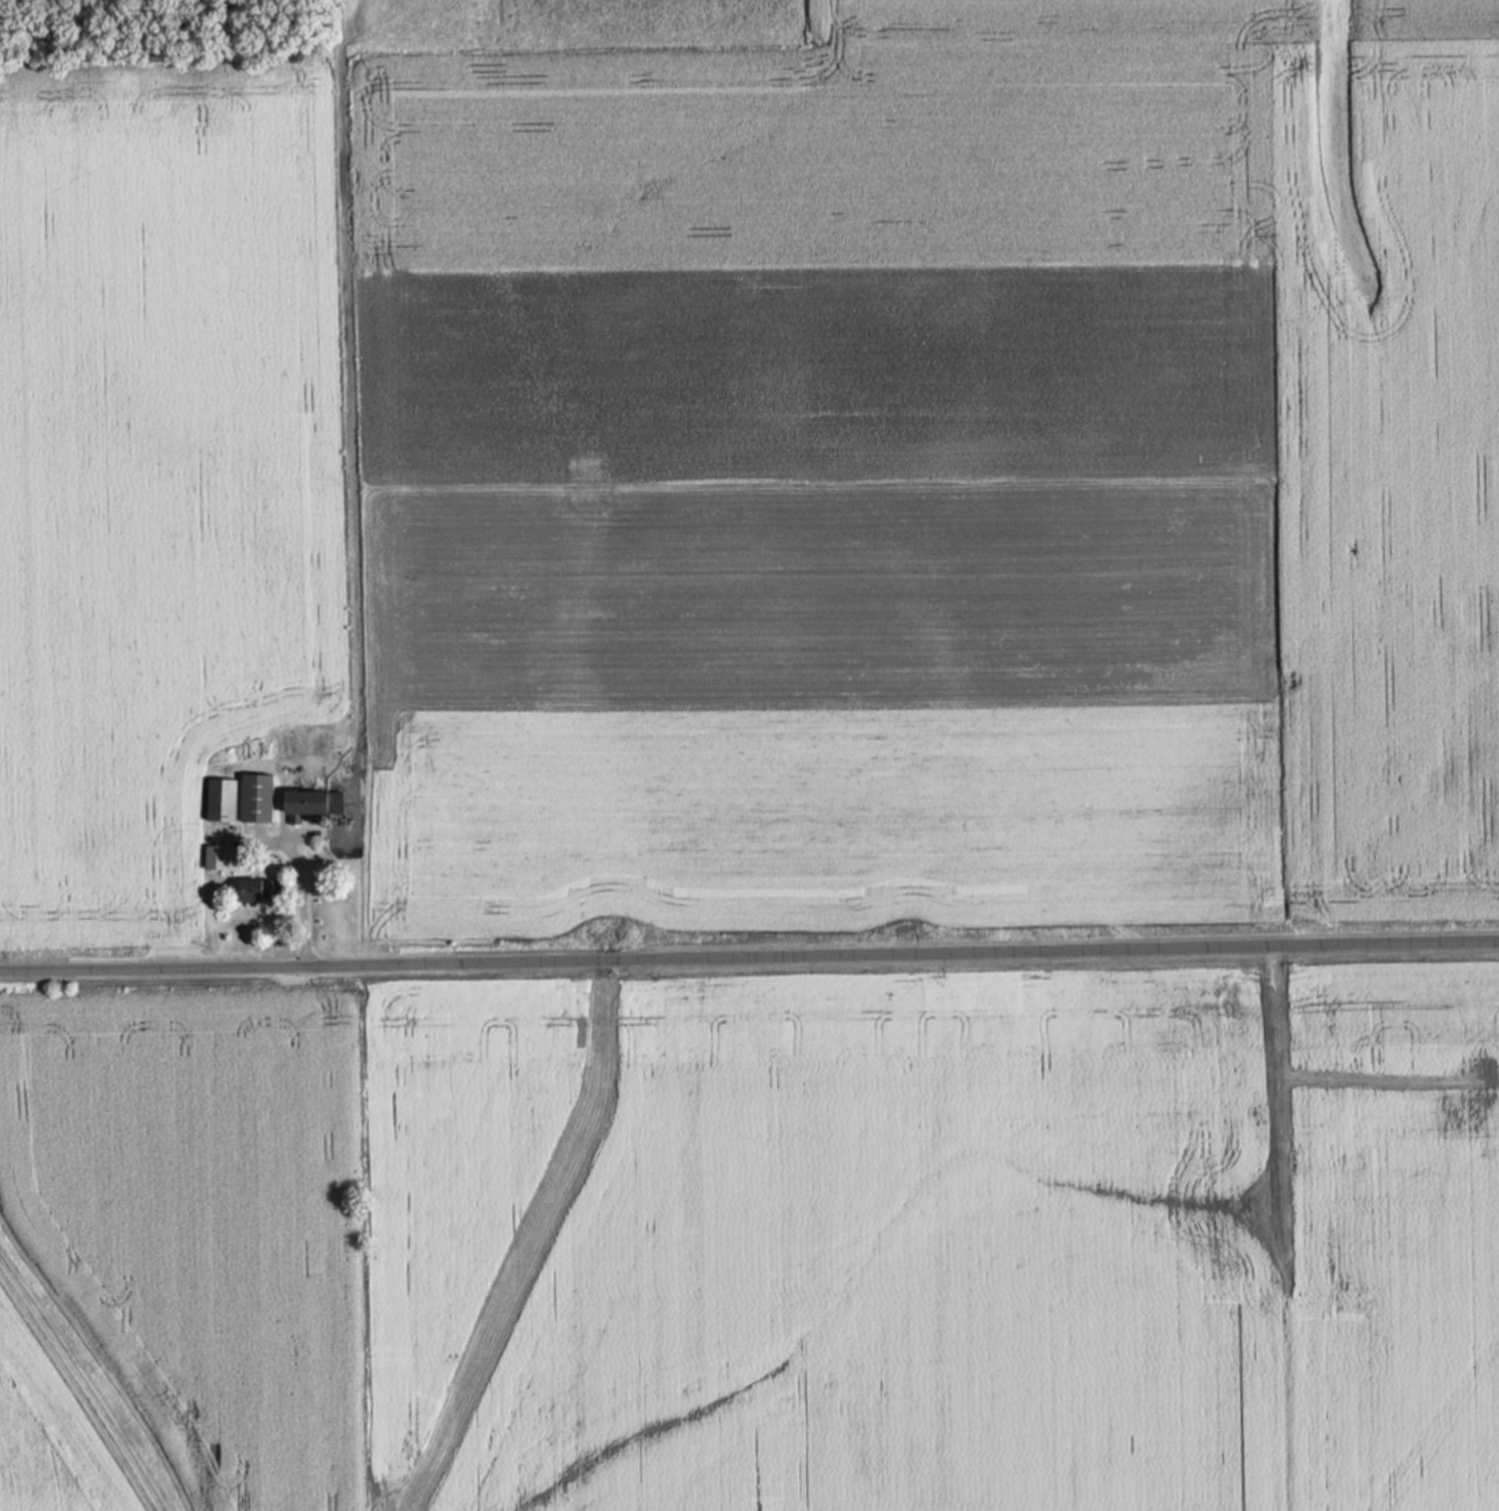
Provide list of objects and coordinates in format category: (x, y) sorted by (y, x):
building: (261, 798)
building: (223, 800)
building: (312, 803)
road: (272, 840)
building: (237, 870)
building: (256, 890)
road: (300, 903)
road: (749, 955)

